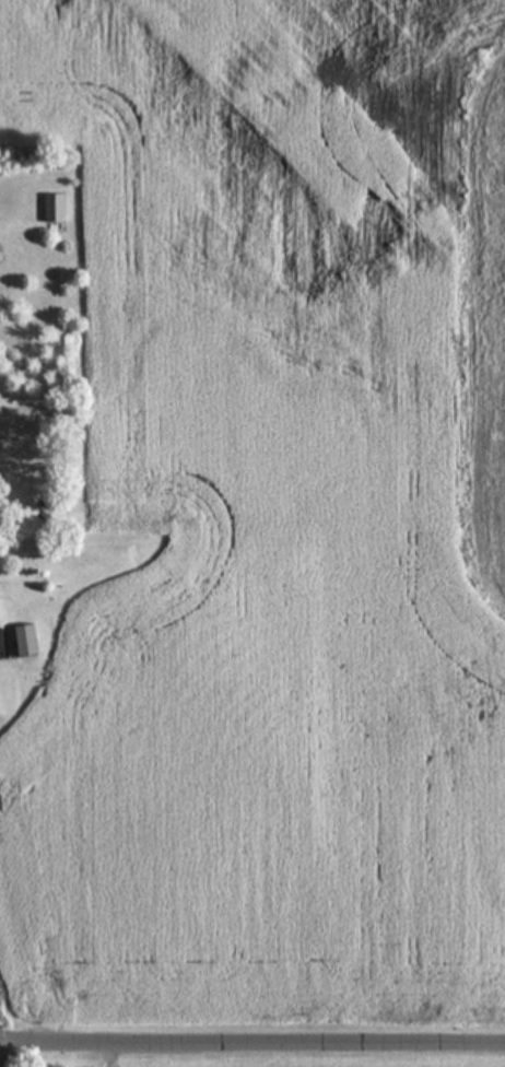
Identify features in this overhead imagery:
building: (2, 606)
road: (251, 1052)

